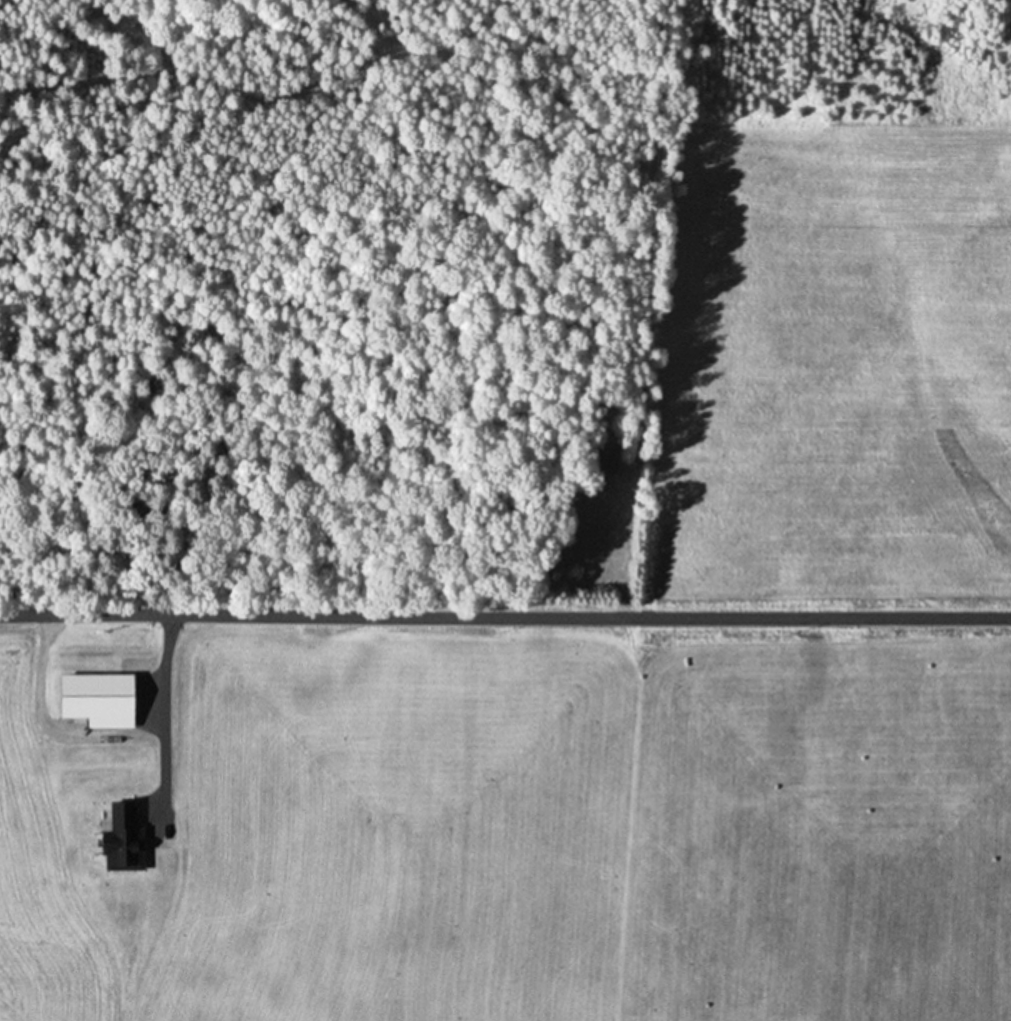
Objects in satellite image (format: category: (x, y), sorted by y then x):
road: (505, 618)
road: (161, 721)
building: (130, 797)
building: (131, 882)

